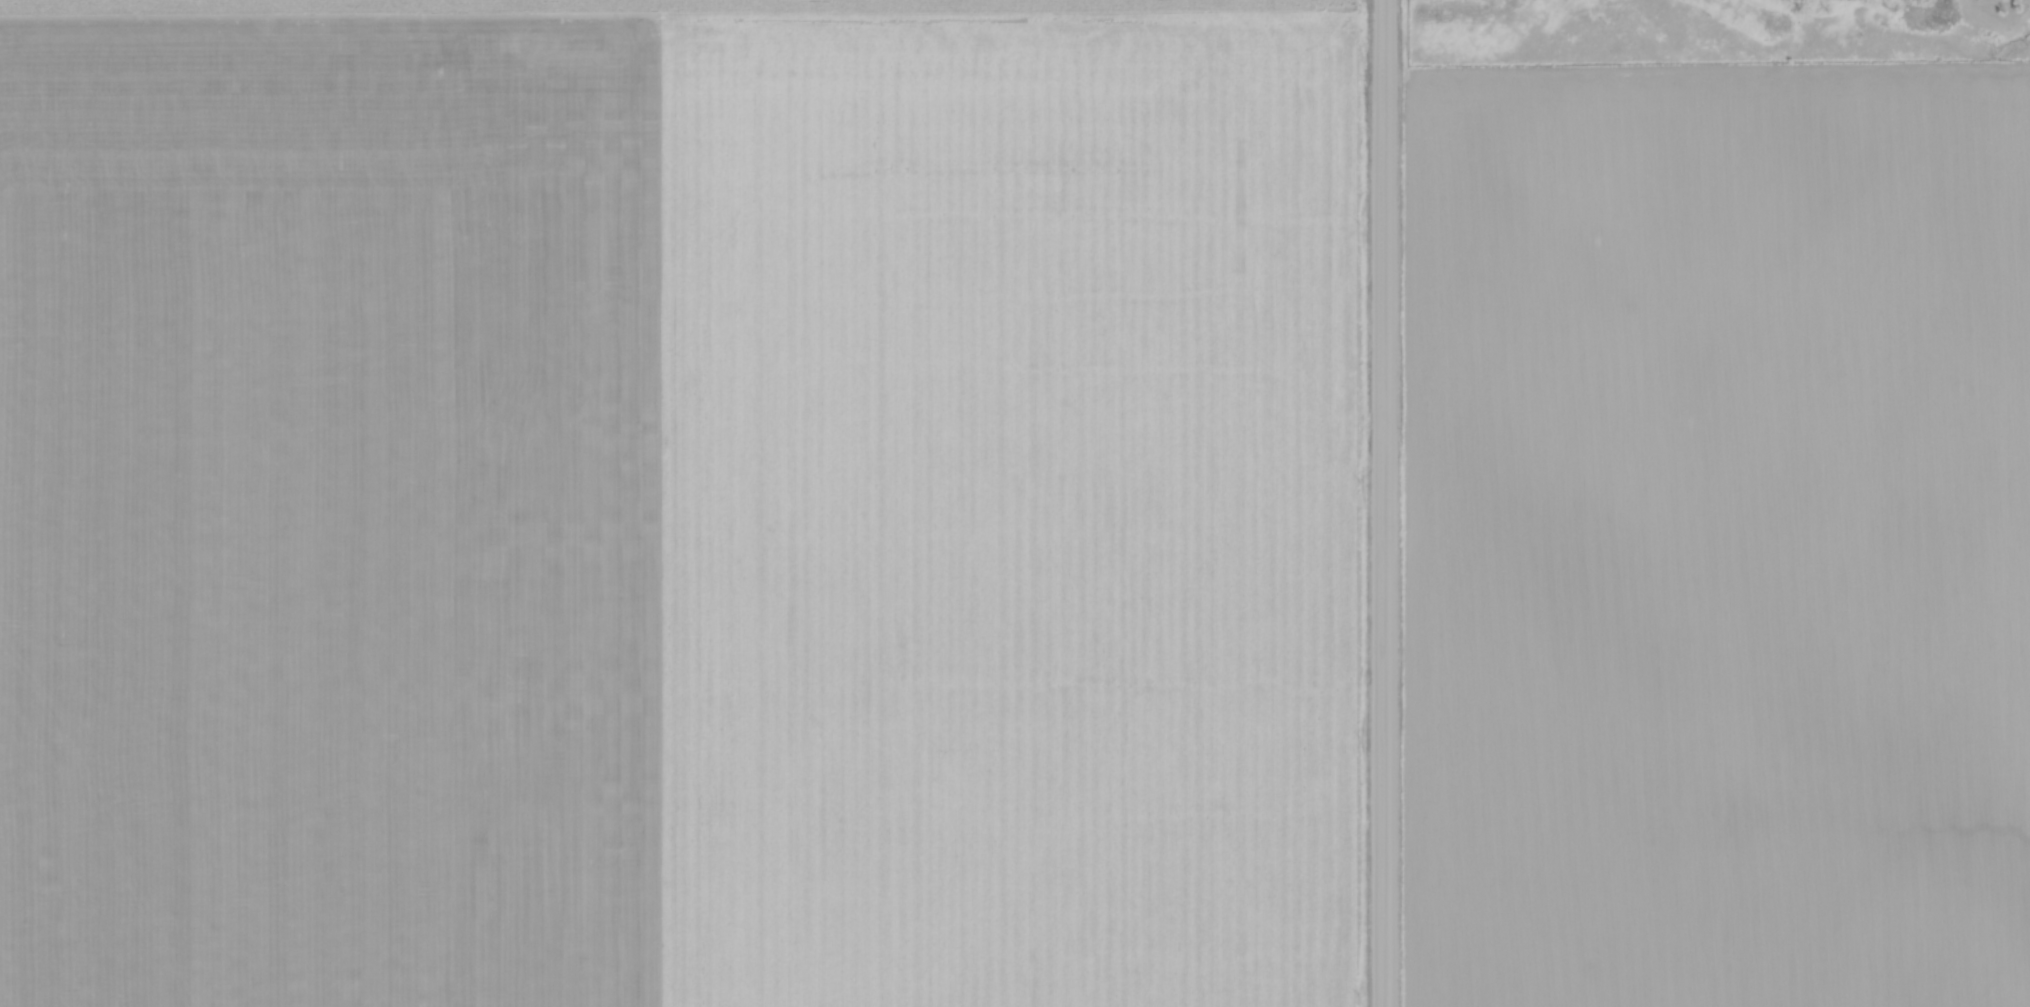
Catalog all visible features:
road: (1385, 503)

